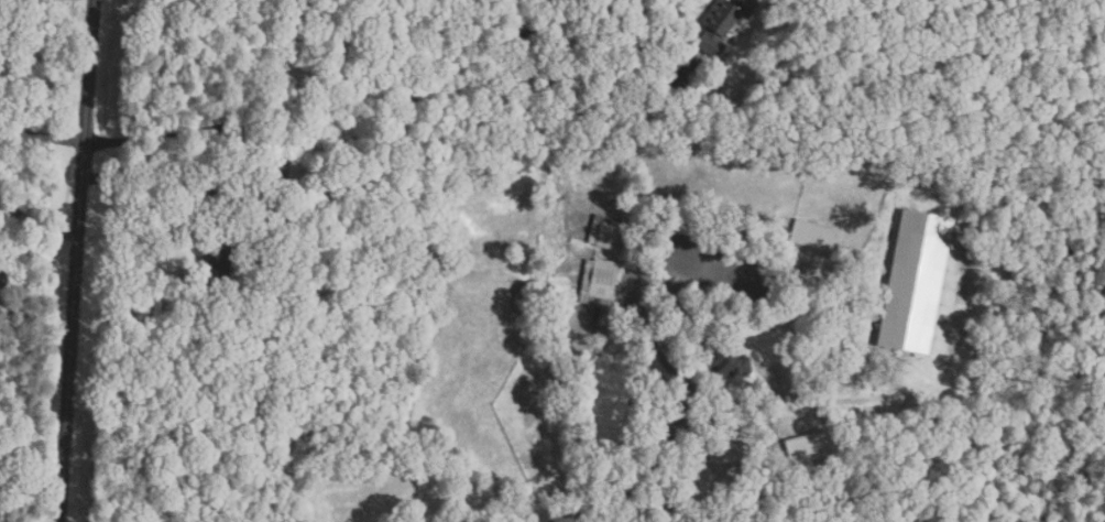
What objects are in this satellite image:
building: (13, 1)
road: (33, 7)
building: (719, 24)
road: (668, 47)
road: (365, 97)
road: (163, 170)
road: (8, 177)
building: (277, 182)
building: (605, 236)
building: (810, 236)
building: (215, 258)
road: (75, 260)
road: (656, 280)
building: (912, 281)
building: (599, 287)
building: (727, 362)
building: (808, 444)
road: (658, 456)

